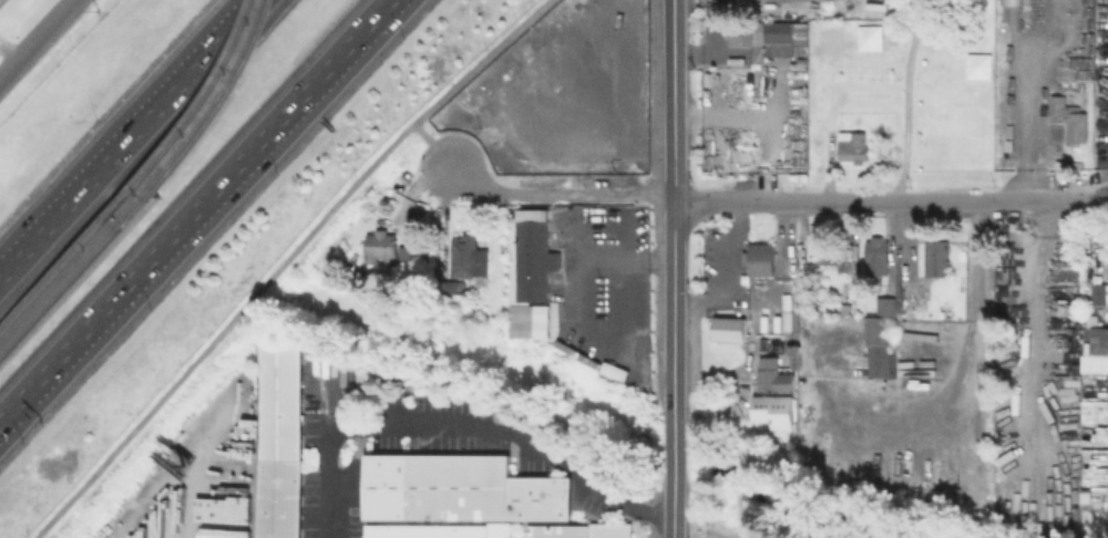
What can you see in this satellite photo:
building: (740, 34)
building: (779, 37)
road: (38, 42)
railway: (206, 100)
road: (905, 101)
railway: (217, 104)
building: (1058, 105)
building: (1077, 125)
road: (131, 141)
road: (429, 143)
building: (854, 148)
road: (773, 201)
road: (188, 205)
road: (674, 216)
road: (728, 225)
building: (381, 247)
building: (404, 254)
building: (472, 254)
road: (599, 254)
building: (835, 256)
building: (874, 256)
building: (538, 259)
building: (758, 259)
building: (937, 259)
railway: (68, 260)
road: (283, 262)
building: (408, 262)
railway: (72, 272)
road: (719, 276)
building: (453, 287)
building: (1096, 292)
road: (696, 304)
road: (973, 320)
road: (1030, 320)
building: (729, 332)
building: (876, 337)
building: (1095, 350)
building: (771, 375)
building: (773, 411)
road: (461, 428)
building: (285, 439)
road: (674, 467)
building: (458, 488)
building: (1088, 494)
road: (673, 519)
building: (437, 530)
building: (579, 531)

